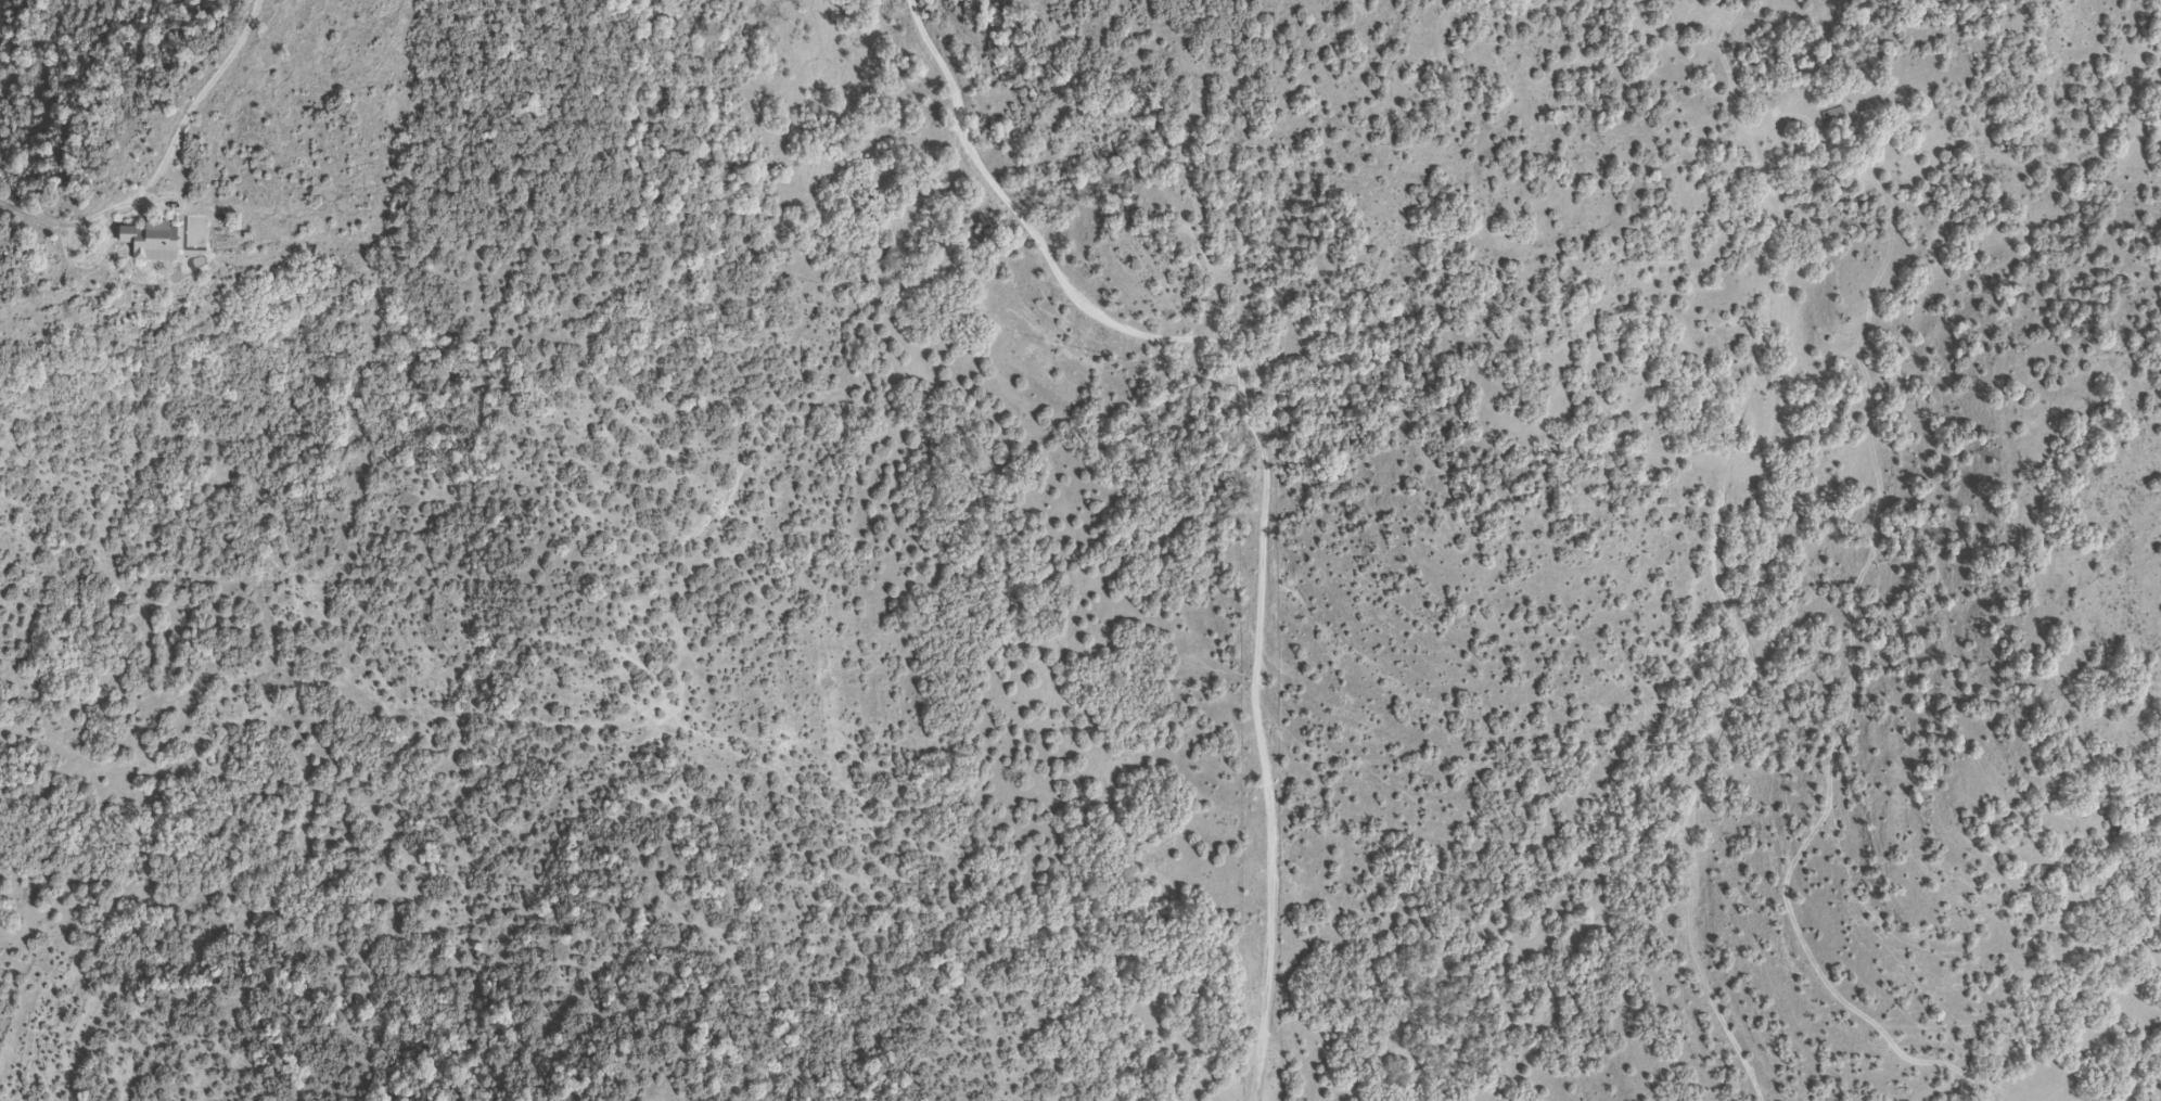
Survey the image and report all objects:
road: (163, 165)
building: (150, 243)
road: (1268, 466)

